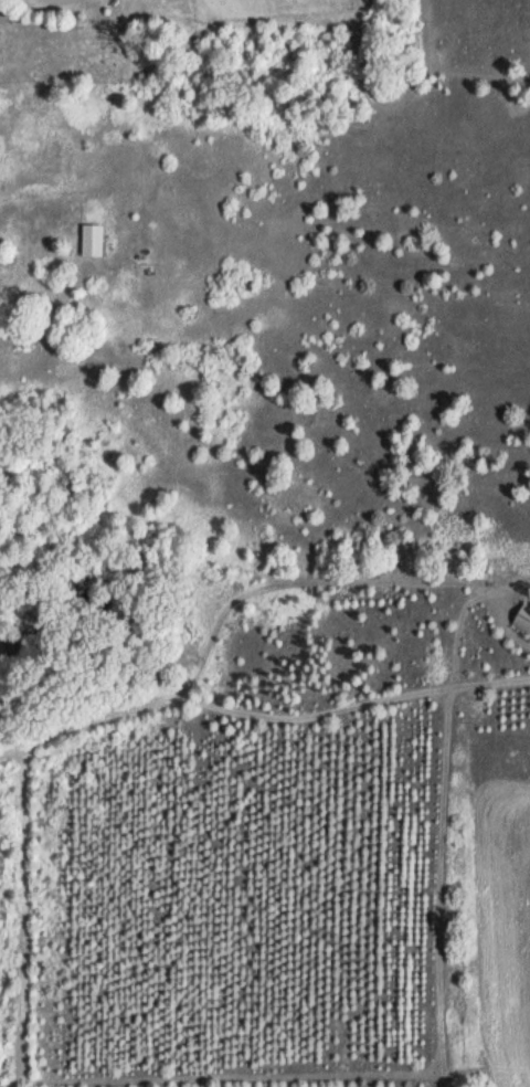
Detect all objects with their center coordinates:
building: (92, 239)
building: (522, 619)

